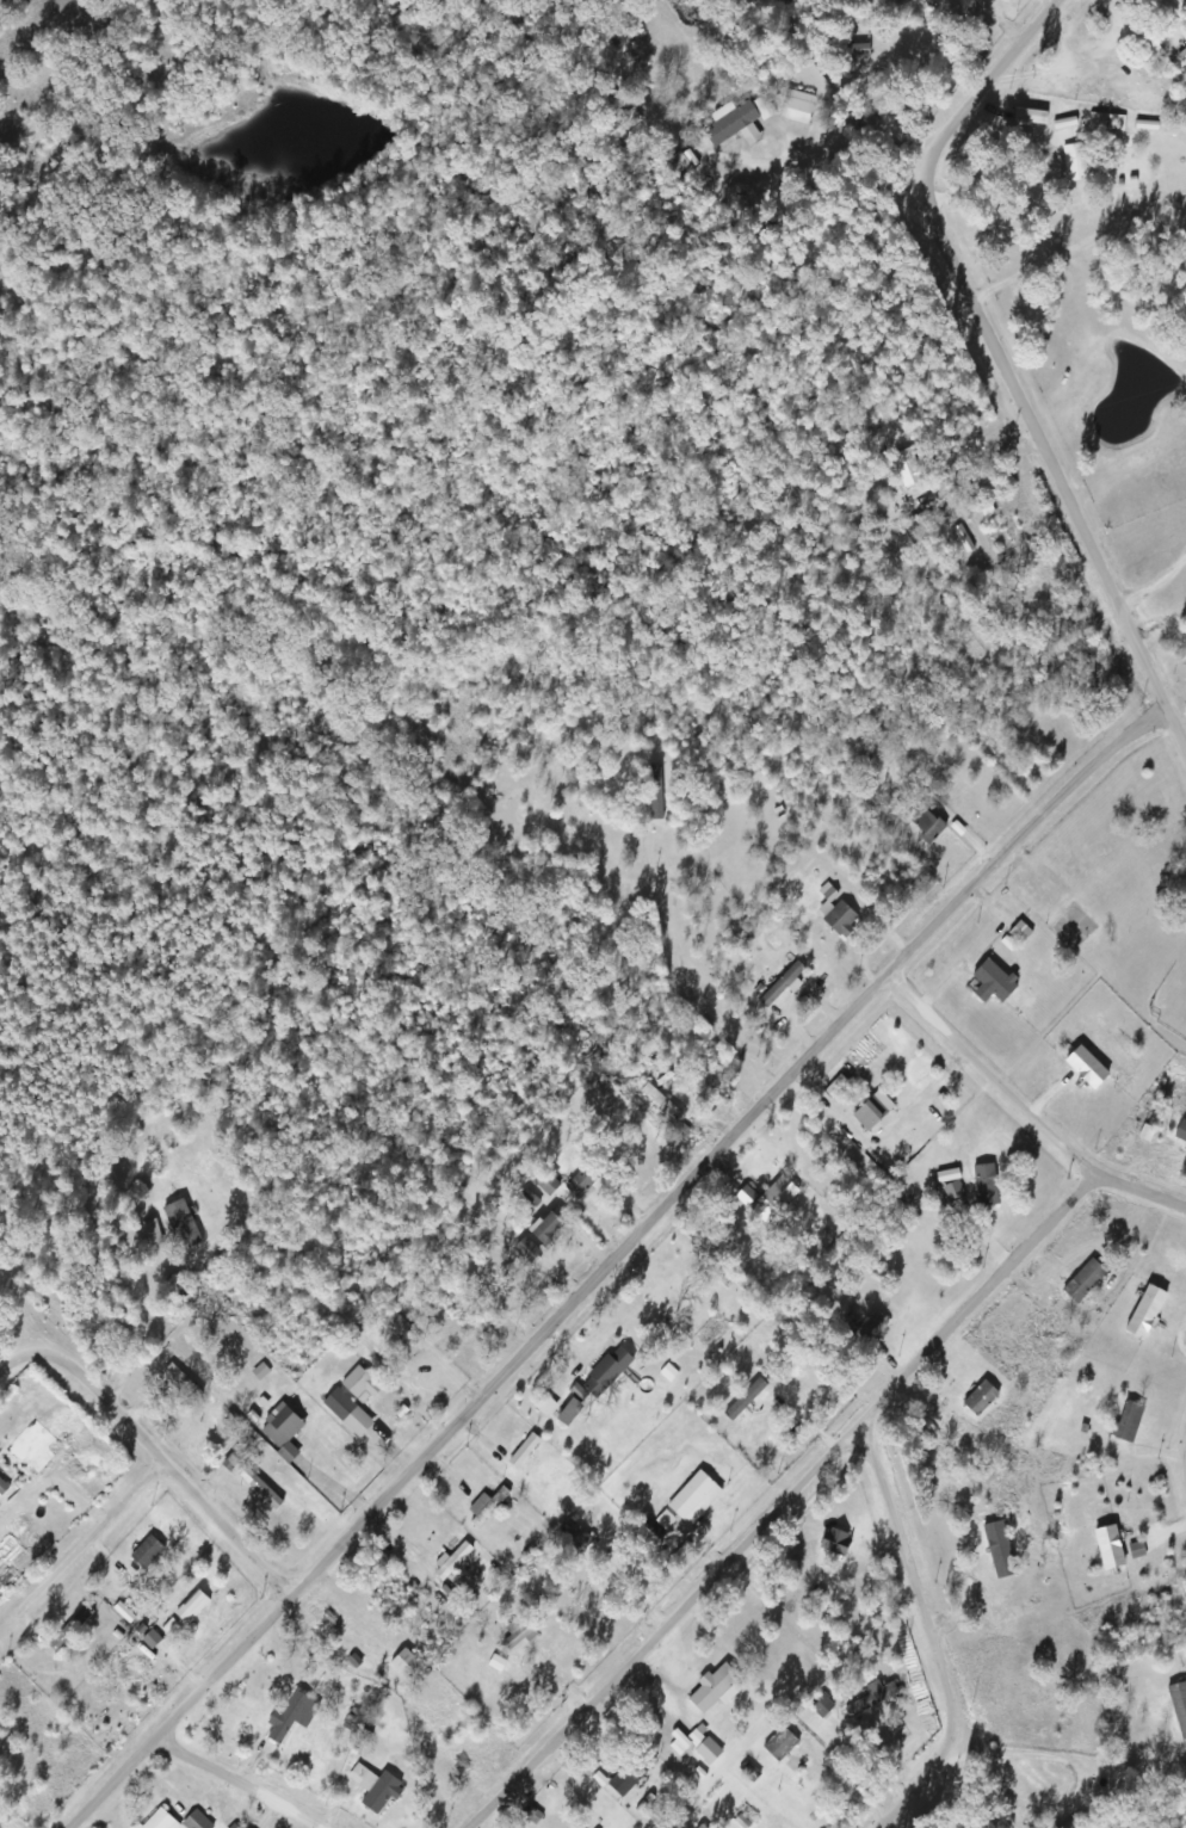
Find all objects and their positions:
building: (981, 2)
building: (854, 50)
building: (1182, 56)
building: (797, 111)
building: (734, 121)
building: (867, 122)
building: (682, 161)
building: (1075, 161)
road: (1000, 357)
building: (903, 469)
building: (1017, 537)
building: (654, 780)
building: (927, 826)
building: (840, 919)
building: (992, 982)
road: (1002, 1085)
building: (869, 1113)
building: (1180, 1132)
road: (734, 1154)
building: (581, 1182)
building: (983, 1185)
building: (743, 1196)
road: (1145, 1198)
building: (181, 1224)
building: (549, 1229)
building: (529, 1249)
building: (1087, 1259)
building: (1159, 1301)
building: (871, 1322)
building: (1025, 1340)
building: (181, 1381)
building: (978, 1398)
building: (352, 1401)
building: (1125, 1421)
building: (280, 1431)
road: (159, 1453)
building: (693, 1497)
road: (801, 1503)
building: (486, 1506)
building: (577, 1542)
building: (835, 1542)
road: (101, 1549)
building: (997, 1550)
building: (147, 1551)
building: (191, 1606)
building: (69, 1628)
building: (517, 1631)
road: (935, 1639)
building: (715, 1688)
building: (1178, 1704)
building: (291, 1716)
road: (196, 1717)
building: (779, 1742)
building: (705, 1748)
building: (631, 1774)
road: (242, 1787)
building: (375, 1787)
building: (159, 1821)
building: (196, 1821)
building: (700, 1827)

